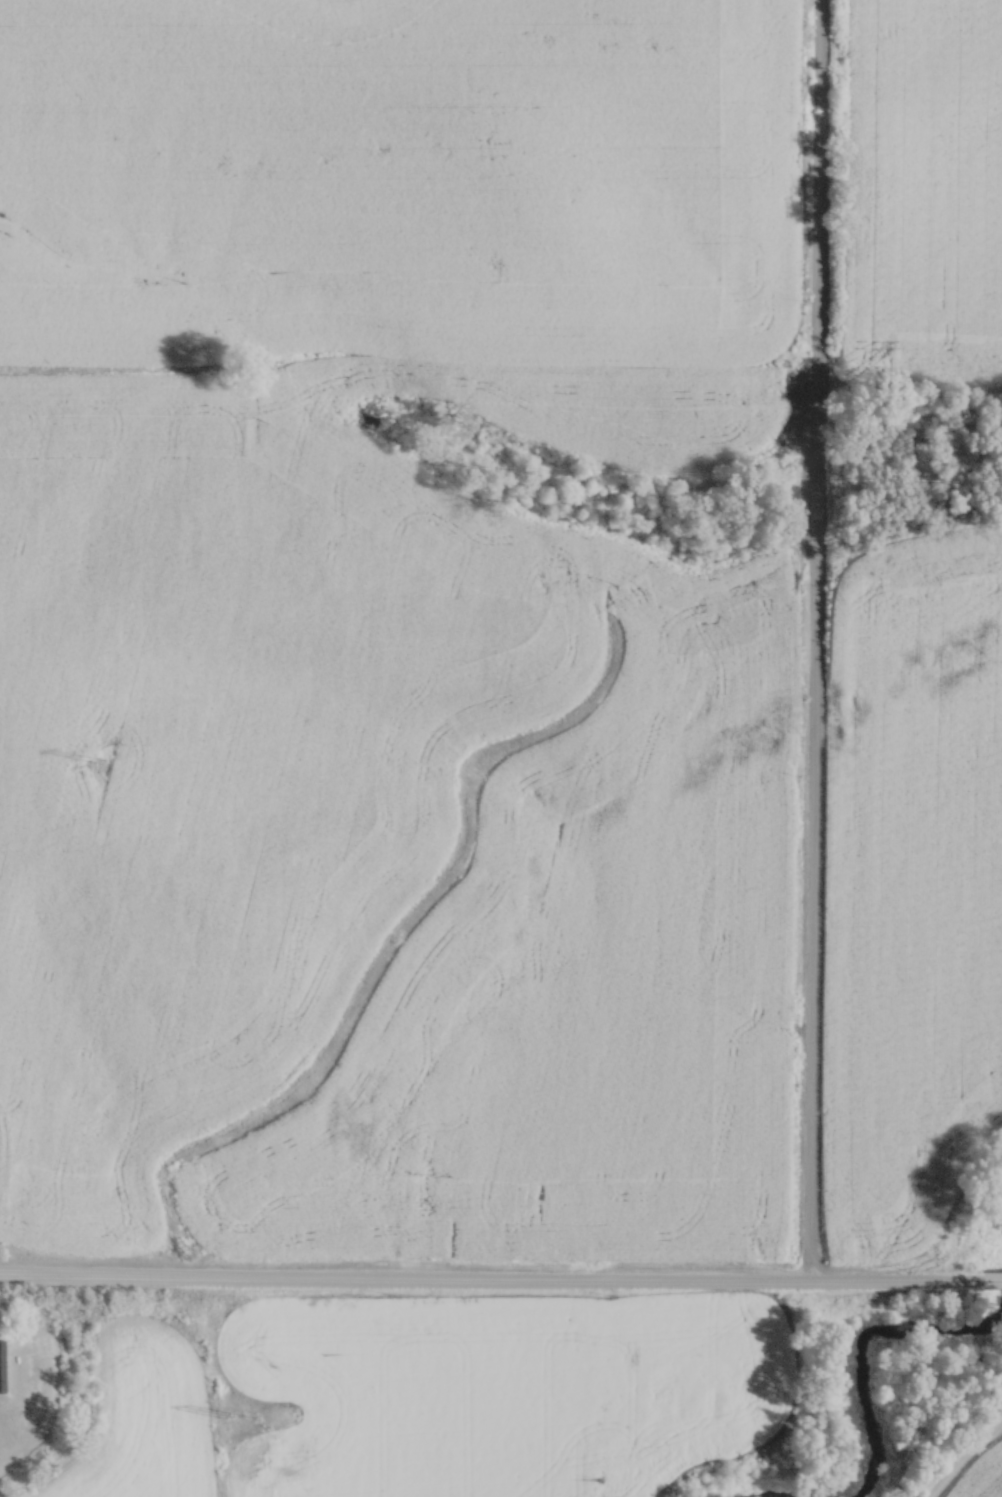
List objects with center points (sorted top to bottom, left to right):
road: (817, 638)
power tower: (95, 764)
road: (491, 1277)
road: (992, 1279)
building: (2, 1364)
building: (662, 1388)
power tower: (226, 1416)
road: (968, 1463)

